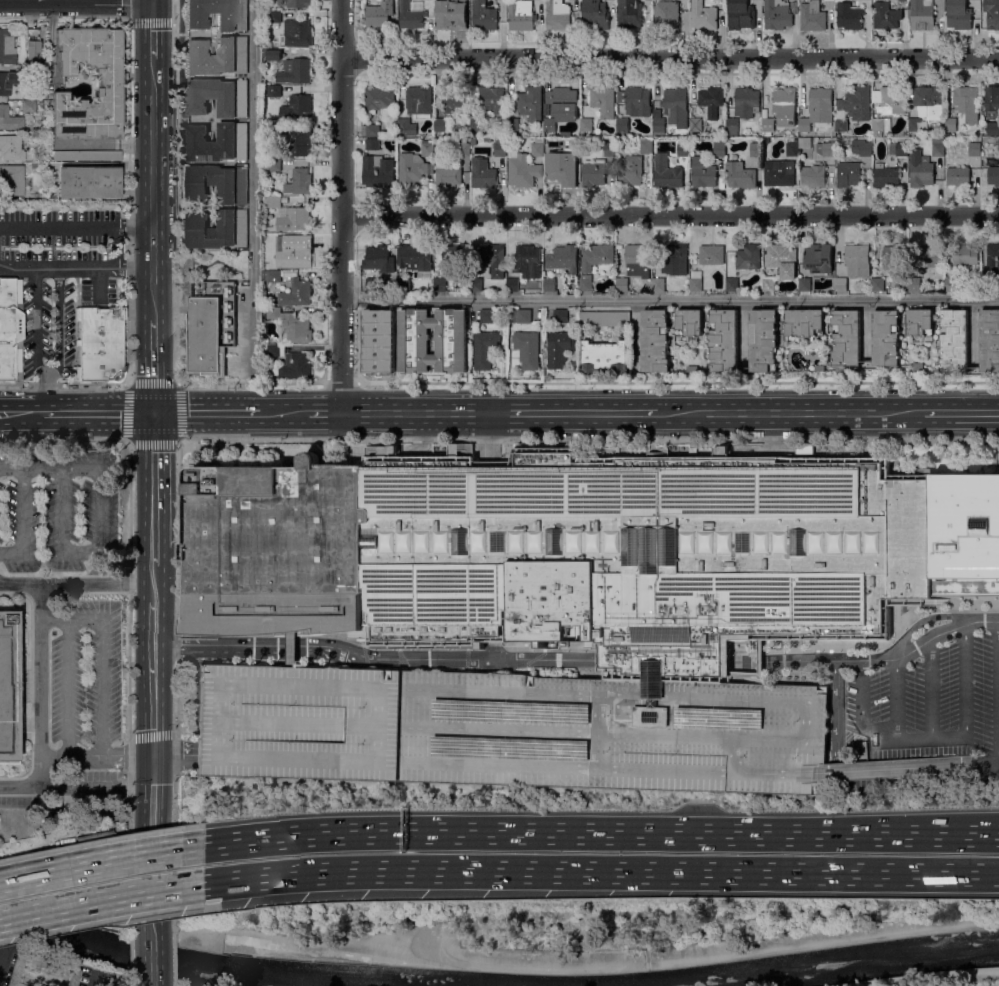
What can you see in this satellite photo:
building: (901, 0)
road: (152, 2)
road: (75, 3)
building: (295, 3)
traffic signals: (152, 4)
building: (219, 14)
building: (450, 14)
building: (557, 14)
building: (629, 14)
building: (667, 14)
building: (777, 14)
building: (921, 14)
building: (992, 14)
building: (376, 15)
building: (411, 15)
building: (483, 15)
building: (521, 15)
building: (594, 15)
building: (741, 15)
building: (958, 15)
building: (703, 16)
building: (812, 16)
building: (849, 16)
building: (886, 16)
building: (272, 17)
road: (142, 18)
building: (31, 33)
road: (152, 34)
building: (293, 34)
building: (7, 46)
building: (274, 53)
building: (217, 56)
road: (670, 57)
building: (294, 71)
building: (7, 81)
building: (108, 85)
building: (274, 91)
building: (218, 97)
building: (377, 99)
building: (992, 99)
building: (418, 100)
building: (492, 101)
building: (635, 101)
building: (711, 101)
building: (452, 102)
building: (603, 102)
building: (746, 102)
building: (929, 102)
building: (563, 103)
building: (530, 104)
building: (28, 106)
building: (676, 106)
building: (785, 106)
building: (297, 108)
building: (852, 108)
building: (887, 108)
building: (963, 108)
building: (817, 110)
building: (10, 118)
building: (442, 124)
building: (549, 124)
building: (586, 124)
building: (695, 124)
building: (476, 125)
building: (512, 125)
building: (406, 126)
building: (622, 126)
building: (767, 126)
building: (914, 126)
building: (658, 127)
building: (732, 127)
building: (275, 128)
building: (993, 129)
building: (372, 130)
building: (904, 133)
building: (486, 139)
building: (472, 140)
building: (218, 142)
building: (295, 143)
building: (805, 143)
building: (374, 144)
building: (998, 144)
building: (646, 146)
building: (937, 146)
building: (11, 147)
building: (499, 147)
building: (537, 147)
building: (683, 147)
building: (719, 147)
building: (861, 147)
building: (426, 148)
building: (463, 148)
building: (573, 149)
building: (609, 149)
building: (755, 149)
building: (792, 149)
building: (825, 149)
building: (901, 149)
building: (974, 149)
building: (84, 154)
building: (272, 165)
building: (378, 170)
building: (410, 170)
building: (522, 170)
building: (629, 170)
building: (920, 170)
building: (666, 172)
building: (594, 173)
building: (702, 173)
building: (777, 173)
building: (447, 174)
building: (483, 174)
building: (557, 174)
building: (848, 174)
building: (740, 175)
building: (818, 176)
building: (885, 176)
building: (958, 176)
building: (993, 176)
building: (11, 180)
building: (89, 181)
building: (299, 182)
building: (218, 183)
road: (153, 190)
road: (176, 192)
road: (129, 200)
road: (254, 206)
road: (341, 206)
building: (185, 207)
building: (289, 215)
road: (670, 215)
road: (77, 227)
building: (219, 229)
building: (274, 238)
road: (117, 247)
building: (297, 255)
building: (712, 255)
building: (450, 256)
building: (894, 256)
building: (379, 257)
building: (415, 257)
building: (596, 257)
building: (748, 257)
building: (926, 257)
building: (964, 257)
building: (563, 258)
building: (818, 258)
building: (993, 258)
building: (494, 259)
building: (676, 260)
building: (782, 260)
building: (527, 261)
building: (637, 261)
building: (857, 261)
road: (76, 267)
building: (274, 276)
parking lot: (59, 280)
building: (695, 281)
building: (586, 283)
building: (438, 284)
building: (476, 284)
building: (512, 284)
building: (549, 284)
building: (659, 284)
building: (732, 284)
building: (768, 284)
building: (804, 284)
building: (840, 284)
building: (878, 284)
building: (914, 284)
building: (951, 284)
building: (622, 285)
building: (708, 292)
building: (715, 292)
building: (296, 293)
building: (767, 294)
road: (670, 299)
building: (521, 315)
building: (487, 316)
building: (560, 316)
building: (604, 319)
road: (37, 321)
road: (58, 321)
building: (805, 322)
building: (920, 322)
building: (689, 323)
building: (291, 325)
power substation: (209, 327)
building: (11, 328)
building: (886, 337)
building: (205, 338)
building: (846, 339)
building: (380, 340)
building: (724, 340)
building: (763, 340)
building: (990, 340)
building: (656, 341)
building: (954, 341)
building: (100, 343)
building: (415, 347)
building: (485, 349)
building: (527, 349)
building: (559, 349)
building: (276, 350)
building: (604, 357)
road: (154, 365)
building: (295, 367)
building: (918, 367)
building: (820, 368)
building: (692, 369)
road: (676, 382)
road: (250, 383)
road: (340, 383)
road: (175, 384)
road: (64, 385)
road: (46, 392)
road: (962, 412)
road: (89, 413)
traffic signals: (154, 413)
road: (204, 413)
road: (276, 413)
road: (319, 413)
road: (426, 413)
road: (585, 413)
road: (793, 413)
road: (13, 414)
road: (491, 440)
building: (805, 449)
building: (693, 451)
road: (100, 478)
road: (154, 480)
road: (24, 520)
road: (61, 529)
building: (587, 553)
road: (154, 558)
road: (154, 577)
road: (77, 584)
road: (154, 594)
road: (67, 619)
road: (154, 625)
road: (177, 647)
road: (291, 649)
road: (579, 661)
parking lot: (86, 673)
building: (8, 685)
road: (104, 685)
road: (69, 687)
road: (129, 689)
road: (931, 689)
road: (176, 696)
road: (154, 700)
road: (896, 700)
road: (41, 705)
road: (808, 720)
road: (837, 722)
road: (282, 723)
building: (509, 730)
parking lot: (509, 730)
road: (172, 733)
road: (928, 739)
road: (832, 742)
road: (182, 755)
traffic signals: (154, 756)
road: (97, 757)
road: (363, 761)
building: (907, 763)
road: (501, 766)
road: (628, 769)
road: (854, 770)
road: (77, 786)
building: (53, 812)
road: (600, 834)
building: (97, 836)
road: (154, 847)
road: (174, 858)
road: (101, 861)
road: (600, 872)
road: (100, 899)
road: (301, 941)
road: (709, 954)
road: (131, 955)
road: (154, 960)
road: (173, 964)
river: (831, 965)
river: (205, 966)
building: (42, 971)
road: (935, 978)
road: (131, 981)
road: (154, 983)

